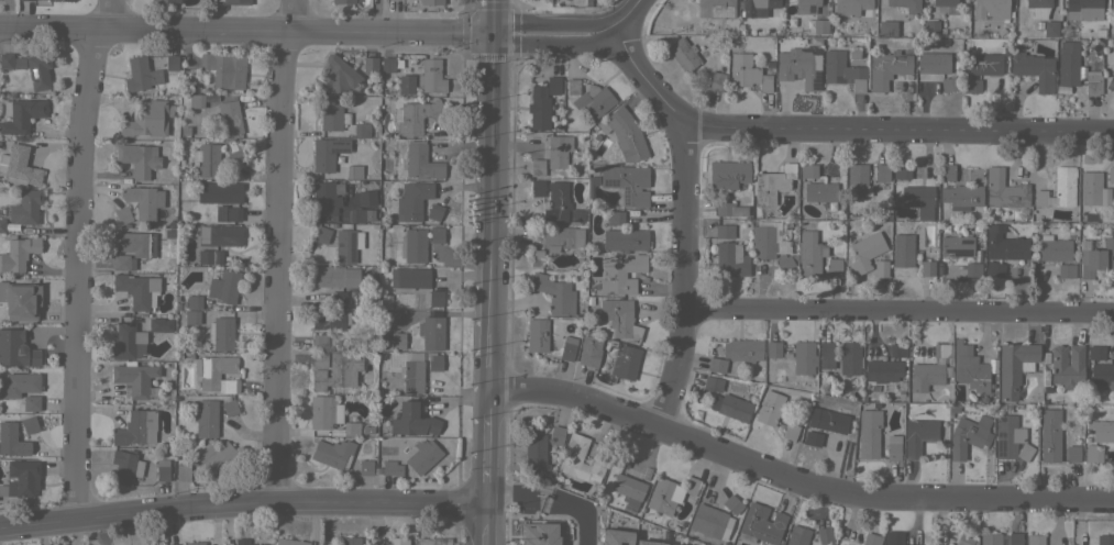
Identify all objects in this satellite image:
building: (32, 0)
building: (54, 0)
building: (165, 1)
building: (342, 1)
building: (236, 2)
building: (431, 2)
building: (905, 4)
building: (757, 5)
building: (945, 5)
building: (1112, 5)
building: (805, 7)
building: (852, 8)
building: (1038, 8)
building: (715, 9)
building: (989, 9)
building: (1083, 9)
building: (819, 25)
building: (933, 27)
building: (887, 29)
building: (1050, 29)
road: (328, 32)
building: (682, 54)
building: (5, 60)
building: (170, 63)
building: (933, 63)
building: (386, 64)
building: (984, 64)
building: (1068, 64)
building: (370, 65)
building: (799, 67)
building: (886, 68)
building: (1033, 69)
building: (38, 70)
building: (223, 70)
building: (842, 70)
building: (747, 73)
building: (140, 75)
building: (337, 76)
building: (431, 76)
building: (715, 80)
road: (648, 81)
building: (949, 84)
building: (1110, 84)
building: (405, 85)
building: (553, 85)
building: (1092, 85)
building: (572, 86)
building: (970, 86)
building: (191, 100)
building: (592, 102)
building: (539, 112)
building: (332, 113)
building: (21, 114)
building: (417, 116)
building: (229, 118)
building: (147, 119)
road: (898, 129)
building: (361, 130)
building: (626, 135)
building: (232, 148)
building: (558, 151)
building: (328, 153)
building: (137, 158)
building: (207, 159)
building: (421, 163)
building: (537, 167)
building: (20, 168)
building: (807, 170)
building: (354, 171)
building: (901, 171)
building: (947, 171)
building: (882, 173)
building: (1111, 174)
building: (727, 176)
building: (857, 180)
rooftop solar panel: (610, 181)
building: (627, 183)
building: (772, 183)
building: (1065, 186)
building: (537, 188)
building: (1090, 188)
building: (1004, 189)
building: (819, 191)
building: (218, 192)
rooftop solar panel: (625, 196)
building: (326, 197)
building: (366, 197)
building: (961, 197)
building: (1039, 198)
building: (412, 200)
building: (918, 200)
building: (144, 201)
building: (556, 202)
building: (26, 207)
building: (729, 209)
building: (434, 211)
building: (122, 214)
building: (230, 214)
building: (361, 214)
building: (615, 218)
building: (1089, 219)
building: (2, 225)
building: (724, 231)
building: (321, 234)
building: (435, 234)
building: (219, 235)
building: (561, 237)
building: (625, 238)
building: (766, 240)
building: (131, 243)
rooftop solar panel: (340, 244)
building: (1004, 244)
building: (412, 245)
building: (957, 245)
building: (1057, 245)
building: (345, 246)
road: (278, 248)
rooftop solar panel: (352, 249)
building: (902, 249)
building: (865, 252)
building: (18, 254)
building: (804, 255)
building: (1095, 255)
building: (214, 256)
road: (77, 257)
building: (536, 257)
rooftop solar panel: (341, 258)
building: (730, 259)
building: (120, 262)
building: (834, 266)
building: (881, 266)
building: (927, 268)
building: (994, 268)
building: (1066, 269)
building: (938, 270)
building: (972, 270)
road: (488, 272)
building: (621, 275)
building: (333, 276)
building: (412, 277)
road: (682, 278)
building: (224, 286)
building: (136, 289)
building: (554, 293)
building: (338, 298)
building: (435, 298)
building: (20, 300)
building: (192, 302)
road: (897, 313)
building: (191, 318)
building: (619, 318)
building: (331, 320)
building: (159, 324)
building: (431, 332)
building: (223, 333)
building: (537, 335)
building: (319, 341)
building: (397, 341)
building: (126, 342)
building: (15, 348)
building: (567, 348)
building: (772, 348)
building: (896, 349)
building: (940, 349)
building: (589, 351)
building: (742, 351)
building: (1096, 353)
building: (825, 355)
building: (803, 357)
building: (849, 358)
building: (319, 359)
building: (625, 362)
building: (434, 363)
building: (716, 365)
building: (1067, 366)
building: (1013, 367)
building: (969, 368)
building: (337, 370)
building: (882, 370)
building: (216, 374)
building: (1102, 375)
building: (412, 376)
building: (925, 376)
building: (133, 377)
building: (18, 383)
building: (712, 383)
building: (31, 403)
building: (228, 407)
building: (730, 407)
building: (769, 408)
building: (321, 411)
building: (206, 419)
rooftop solar panel: (1000, 419)
building: (415, 420)
building: (827, 421)
building: (31, 424)
building: (135, 427)
building: (352, 429)
building: (790, 431)
building: (1102, 431)
building: (869, 433)
rooftop solar panel: (1000, 433)
building: (555, 434)
building: (1049, 434)
building: (918, 435)
building: (968, 435)
building: (813, 438)
building: (1010, 438)
building: (11, 440)
building: (893, 447)
rooftop solar panel: (1002, 448)
building: (536, 451)
building: (332, 453)
building: (1072, 453)
building: (422, 455)
building: (1092, 455)
building: (571, 457)
building: (218, 458)
building: (619, 458)
building: (122, 466)
building: (365, 467)
building: (390, 468)
building: (162, 470)
building: (183, 472)
building: (20, 478)
road: (795, 478)
building: (628, 489)
building: (669, 493)
building: (555, 501)
road: (240, 502)
road: (548, 504)
building: (732, 504)
building: (708, 521)
building: (761, 523)
building: (538, 533)
building: (824, 534)
building: (797, 535)
building: (615, 537)
building: (893, 538)
building: (990, 538)
building: (1014, 538)
building: (871, 540)
building: (962, 540)
building: (1035, 540)
building: (1104, 540)
building: (349, 541)
building: (375, 541)
building: (397, 541)
building: (433, 541)
building: (244, 542)
building: (288, 542)
building: (195, 543)
building: (647, 543)
building: (170, 544)
rooftop solar panel: (620, 544)
building: (672, 544)

